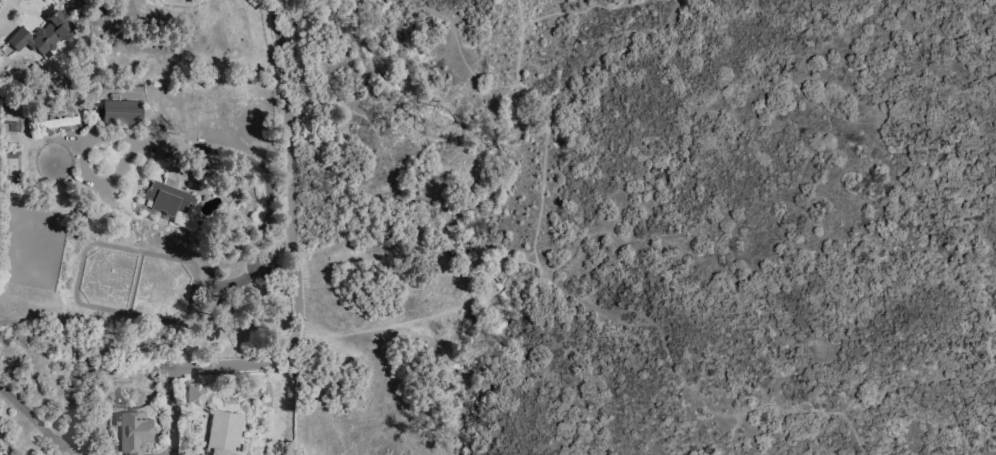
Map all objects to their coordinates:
road: (583, 10)
road: (8, 16)
building: (45, 36)
building: (124, 113)
building: (61, 124)
road: (268, 173)
building: (168, 198)
road: (296, 235)
road: (529, 262)
road: (593, 309)
road: (438, 315)
road: (172, 366)
road: (124, 368)
road: (912, 385)
building: (202, 395)
road: (167, 408)
building: (136, 432)
building: (225, 433)
road: (732, 434)
road: (60, 439)

